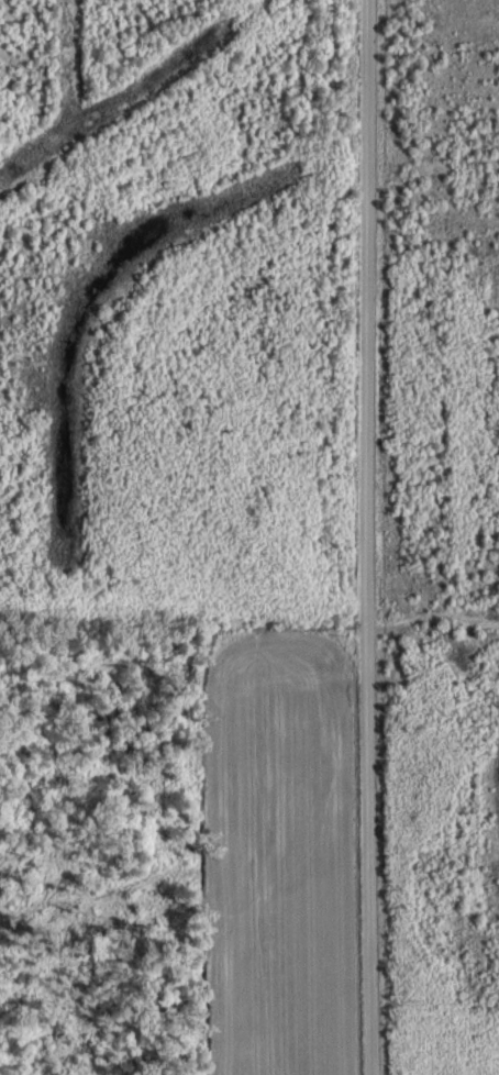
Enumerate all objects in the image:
road: (362, 536)

